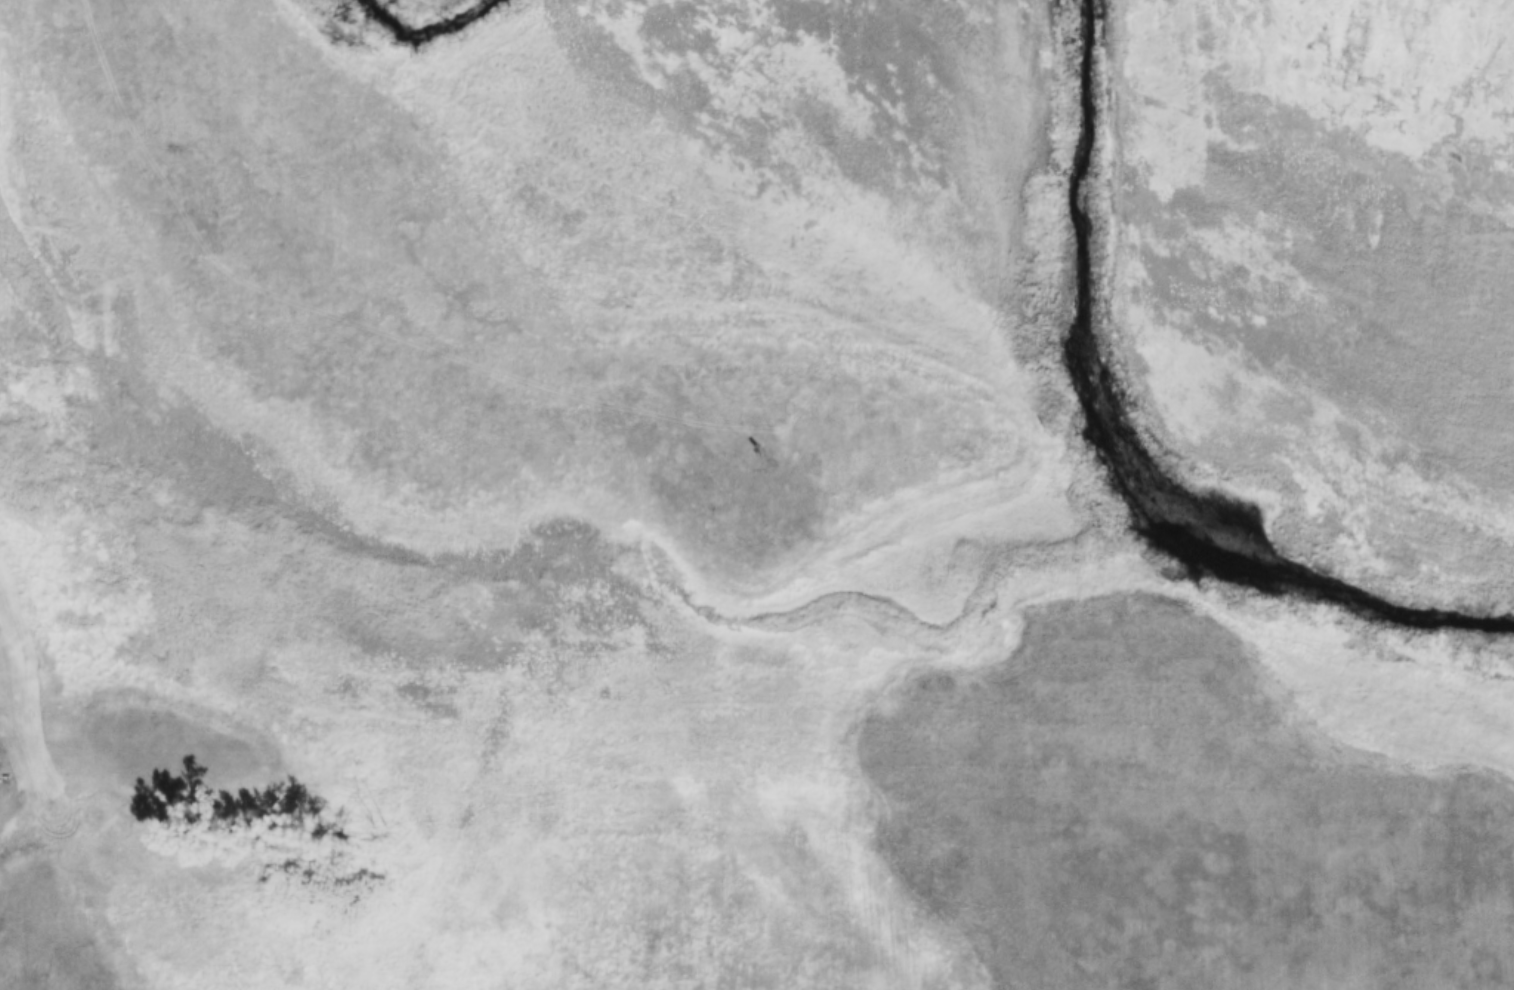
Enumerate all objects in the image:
river: (414, 6)
river: (1126, 423)

